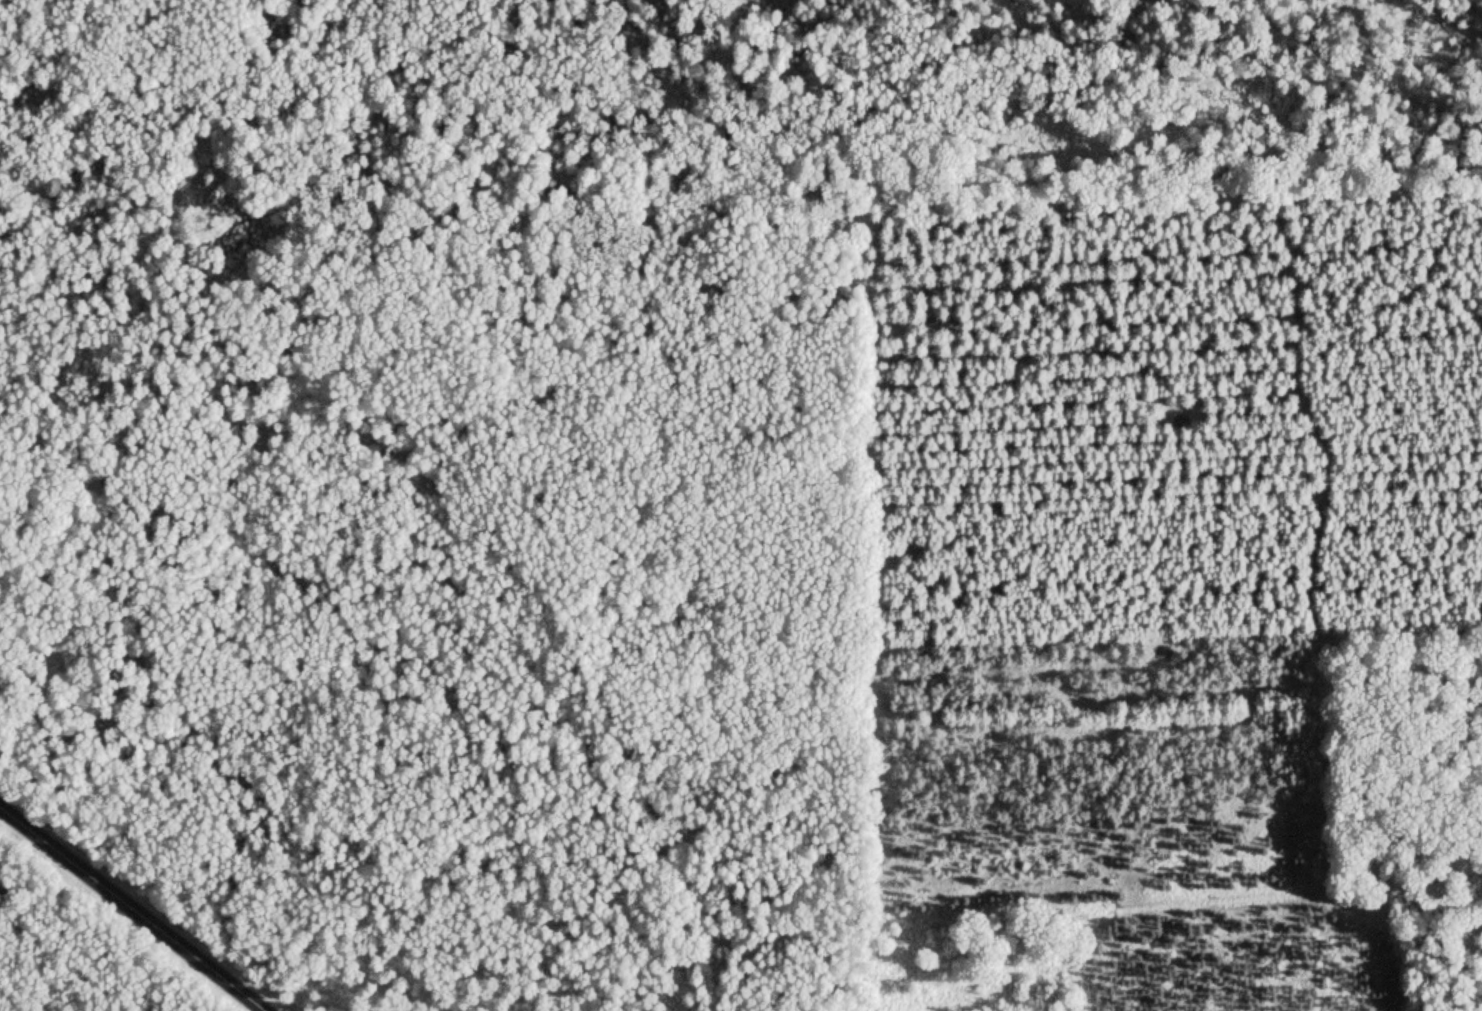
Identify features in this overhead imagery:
park: (427, 505)
road: (135, 906)

